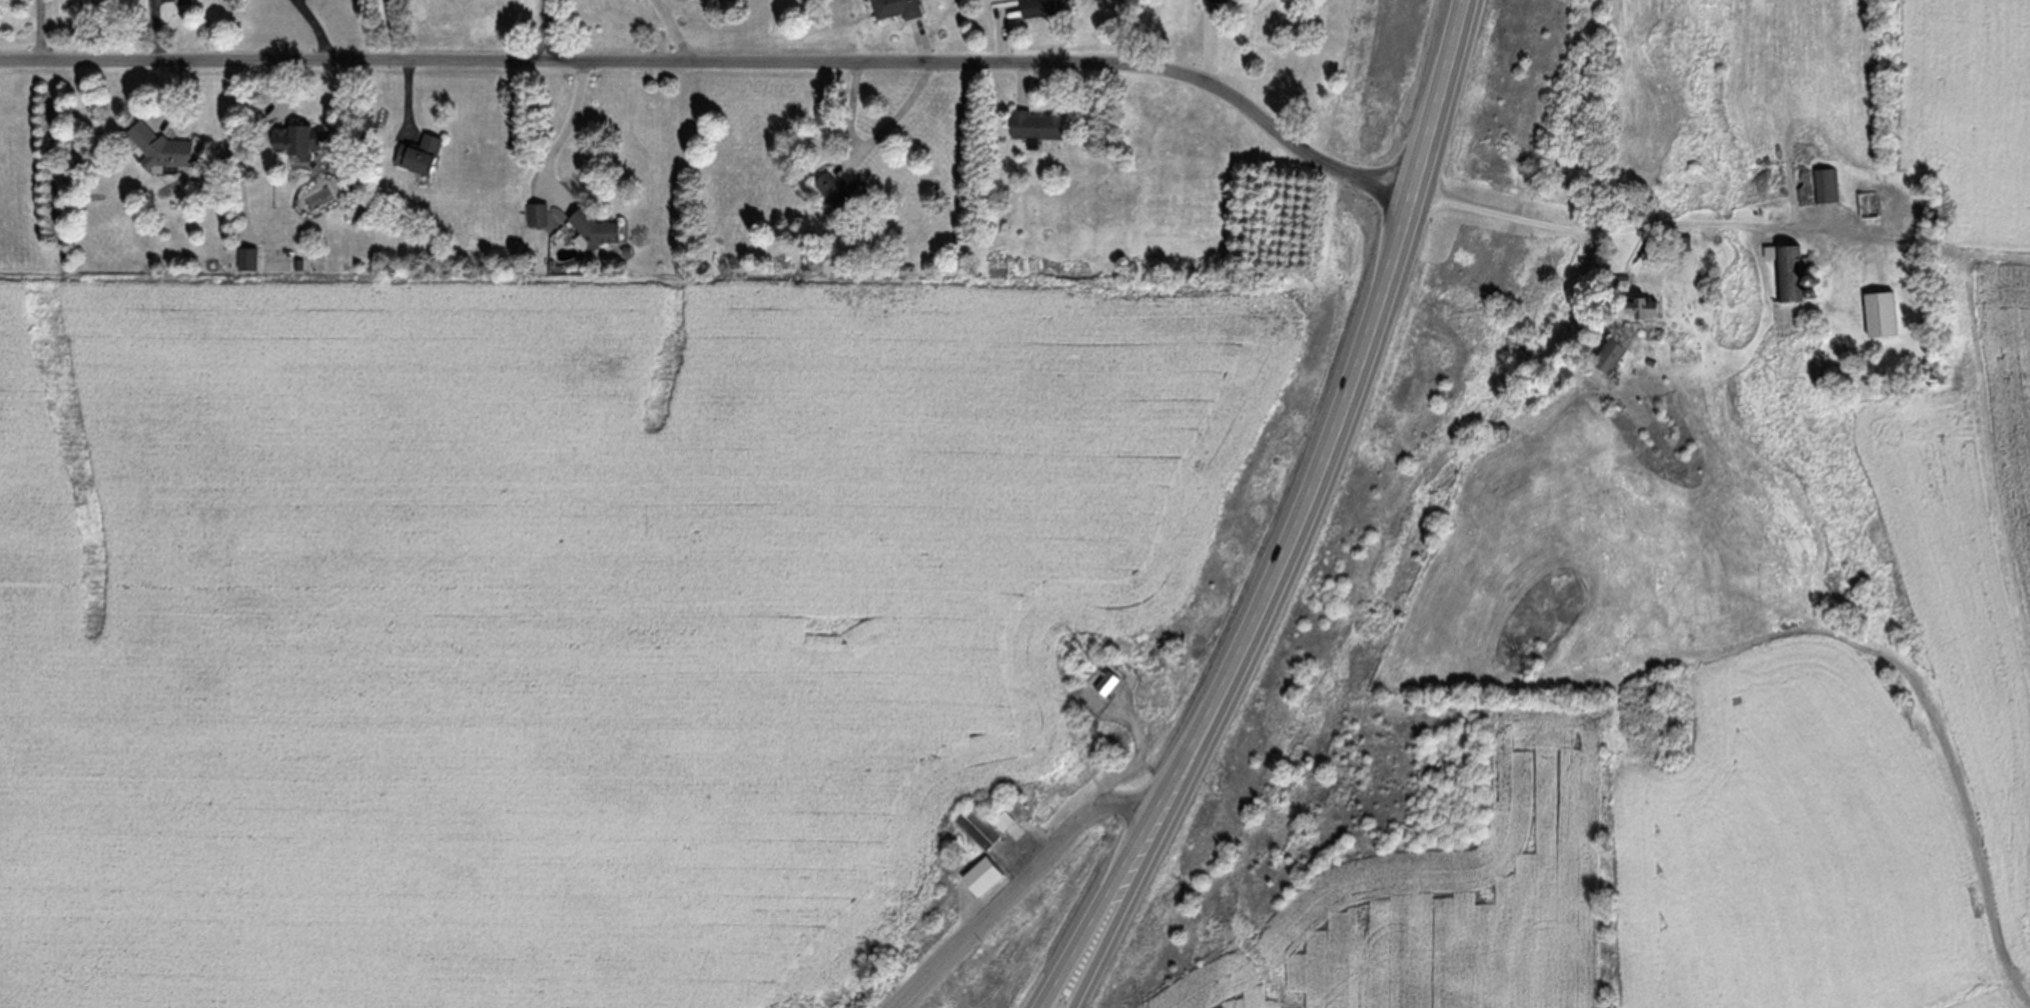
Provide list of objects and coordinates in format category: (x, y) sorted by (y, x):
building: (1227, 0)
building: (185, 1)
building: (1212, 1)
building: (1044, 7)
building: (897, 8)
road: (317, 27)
road: (674, 28)
road: (44, 29)
road: (158, 29)
road: (390, 29)
road: (545, 29)
road: (1002, 30)
road: (1212, 43)
road: (725, 60)
road: (1024, 83)
road: (176, 93)
road: (409, 98)
road: (854, 107)
road: (907, 109)
building: (826, 114)
building: (1036, 126)
road: (246, 134)
road: (563, 136)
building: (298, 140)
building: (161, 148)
building: (419, 155)
building: (1829, 185)
building: (839, 192)
building: (1868, 204)
building: (538, 216)
road: (1634, 226)
building: (595, 229)
building: (1682, 243)
road: (1943, 250)
building: (248, 259)
building: (1788, 273)
road: (1589, 274)
building: (1619, 281)
building: (1642, 308)
building: (1882, 313)
building: (1610, 356)
road: (1348, 416)
road: (1990, 458)
building: (1107, 682)
road: (1138, 760)
building: (1004, 819)
building: (978, 826)
building: (982, 877)
road: (1019, 882)
road: (2029, 888)
road: (1101, 906)
road: (1125, 910)

